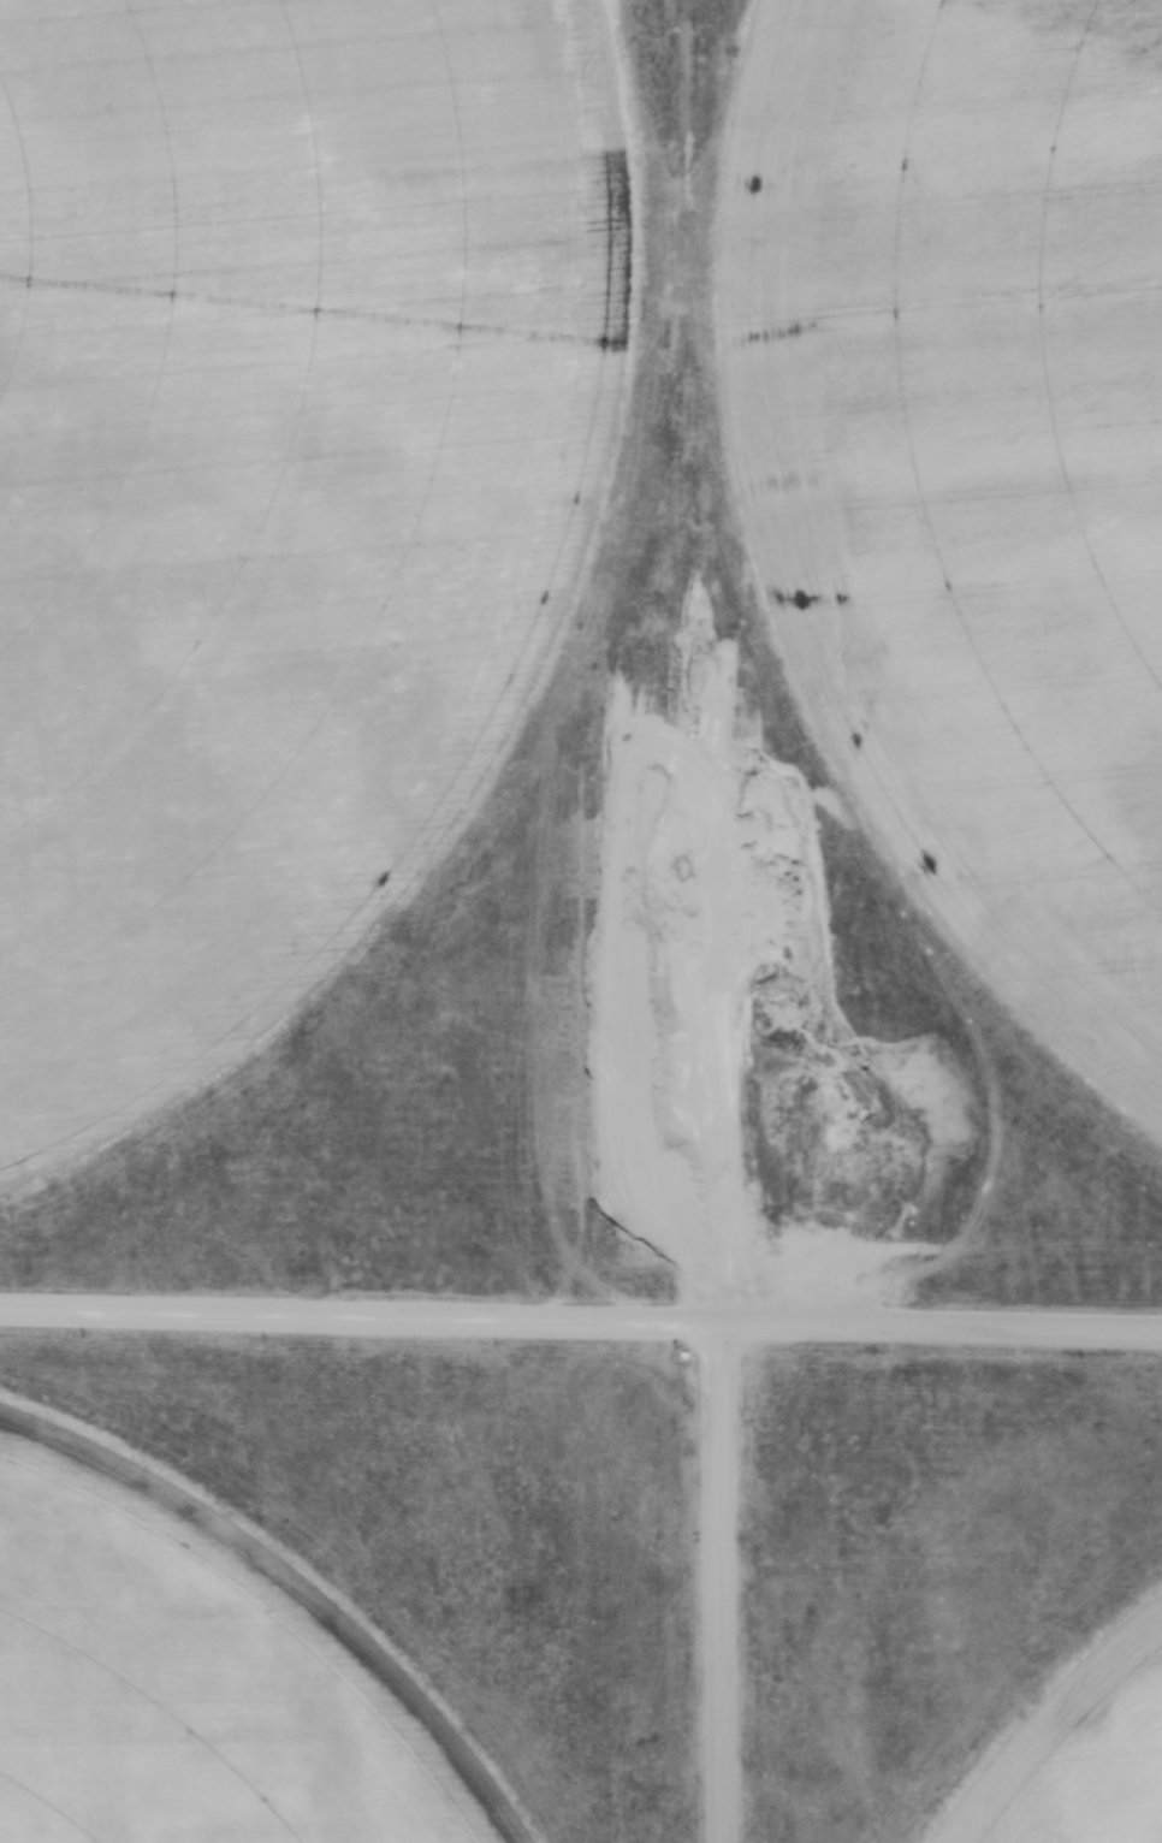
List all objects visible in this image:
crop: (967, 464)
crop: (267, 490)
road: (581, 1320)
road: (713, 1583)
crop: (192, 1681)
crop: (1073, 1743)

